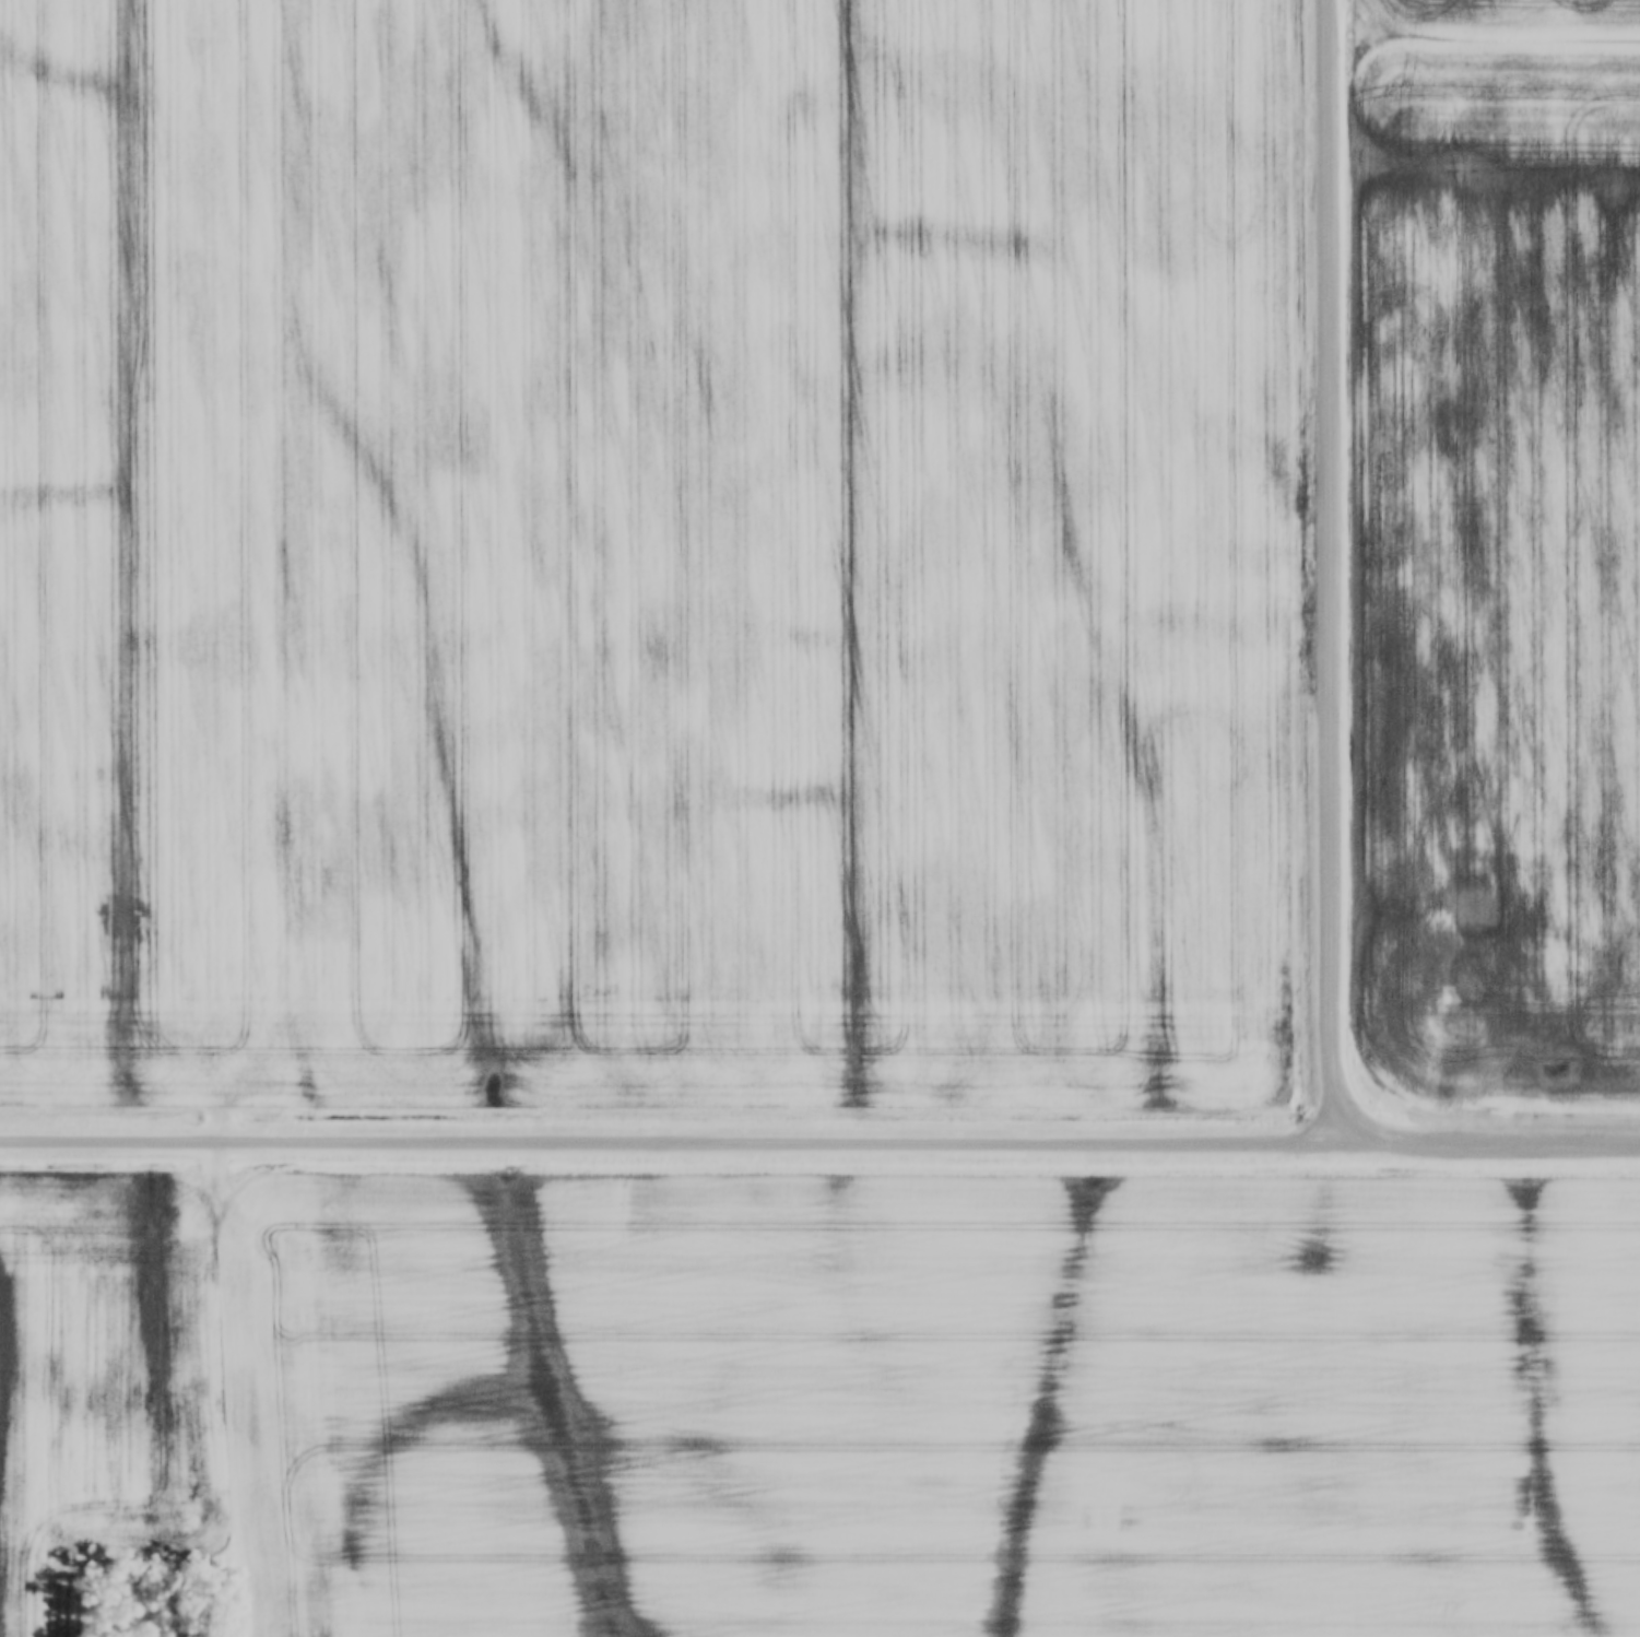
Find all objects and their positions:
road: (1484, 38)
road: (1331, 708)
road: (703, 1147)

